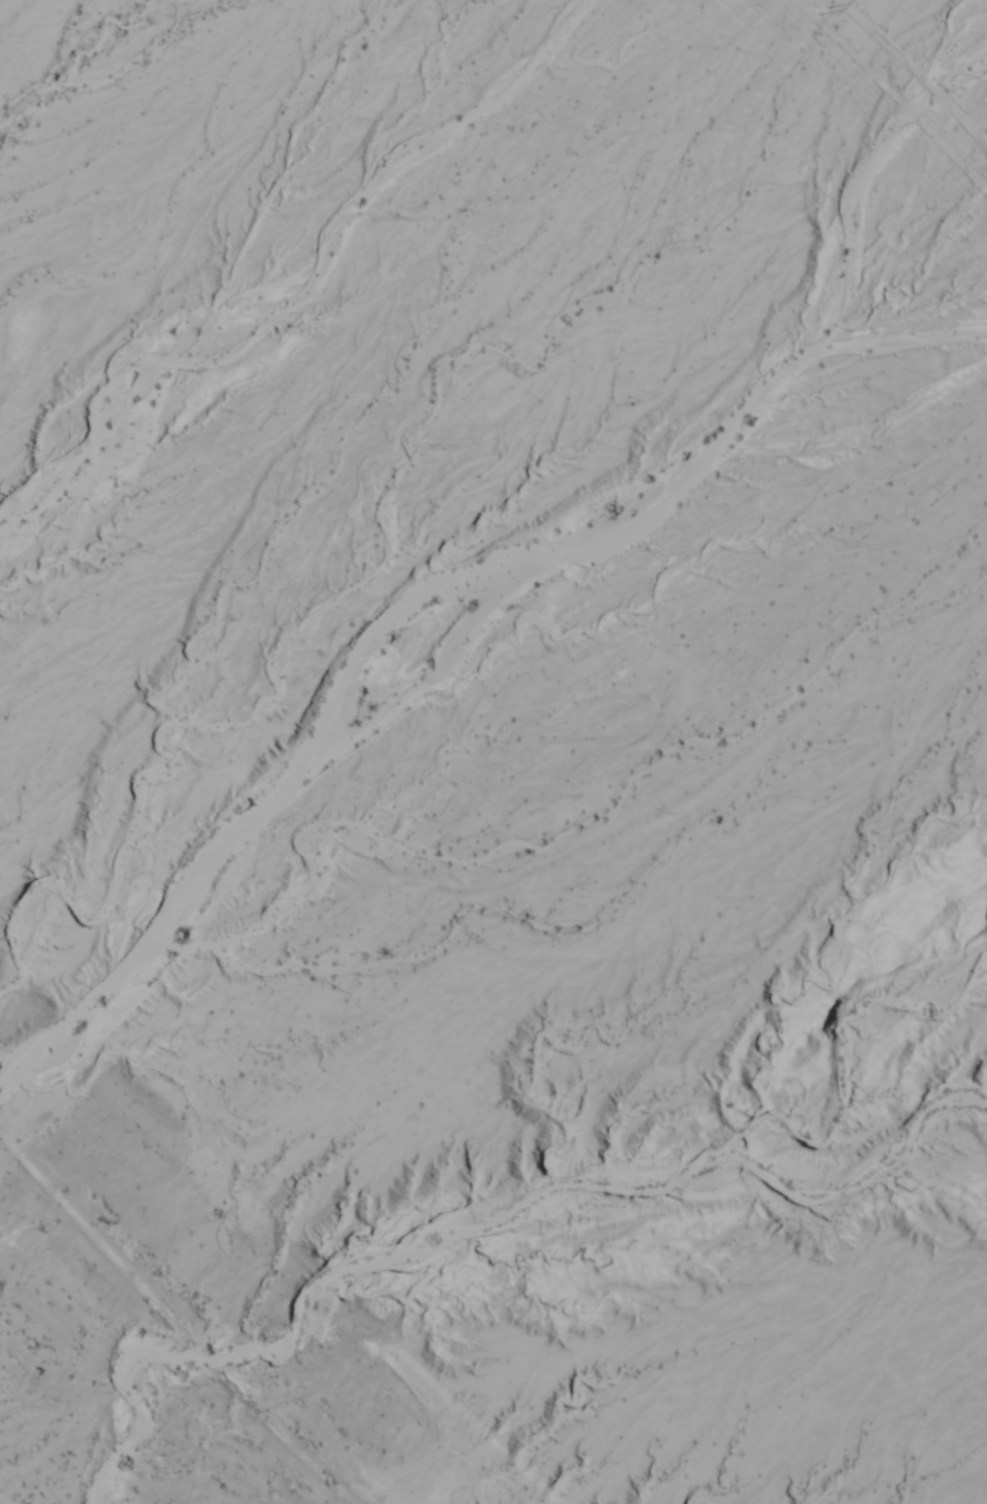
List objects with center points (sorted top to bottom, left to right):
power tower: (825, 11)

